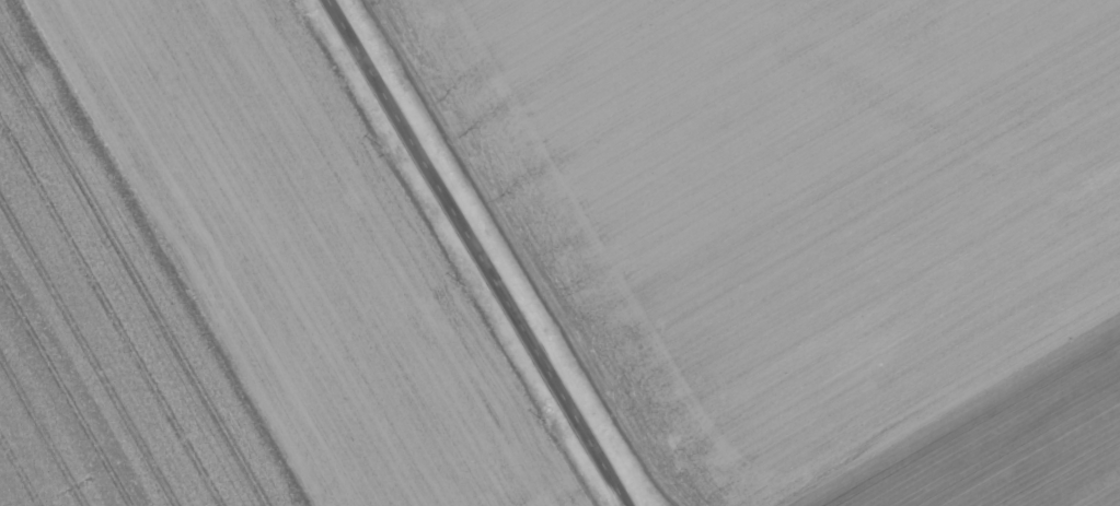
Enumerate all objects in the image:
road: (481, 252)
road: (942, 401)

